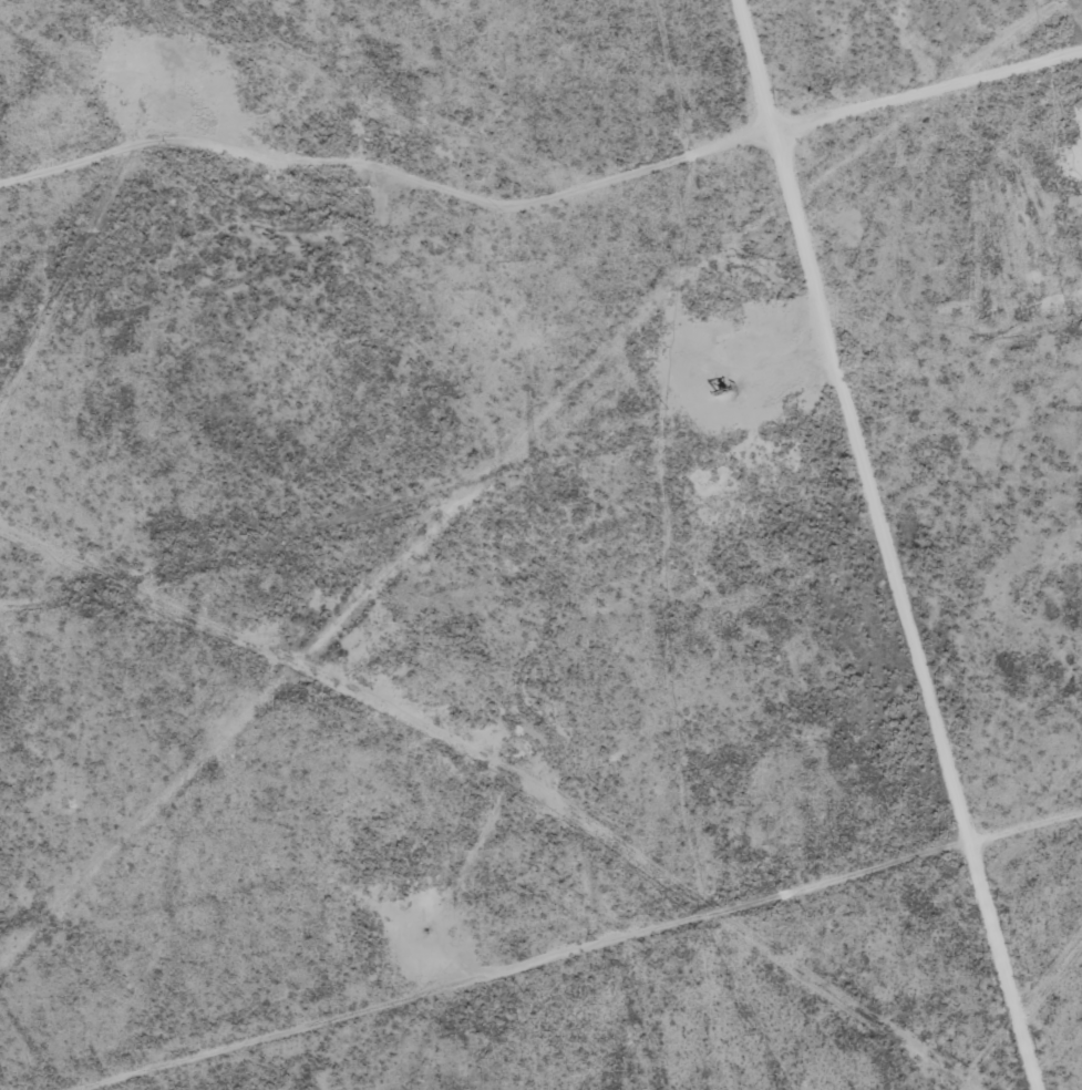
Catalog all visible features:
road: (829, 545)

